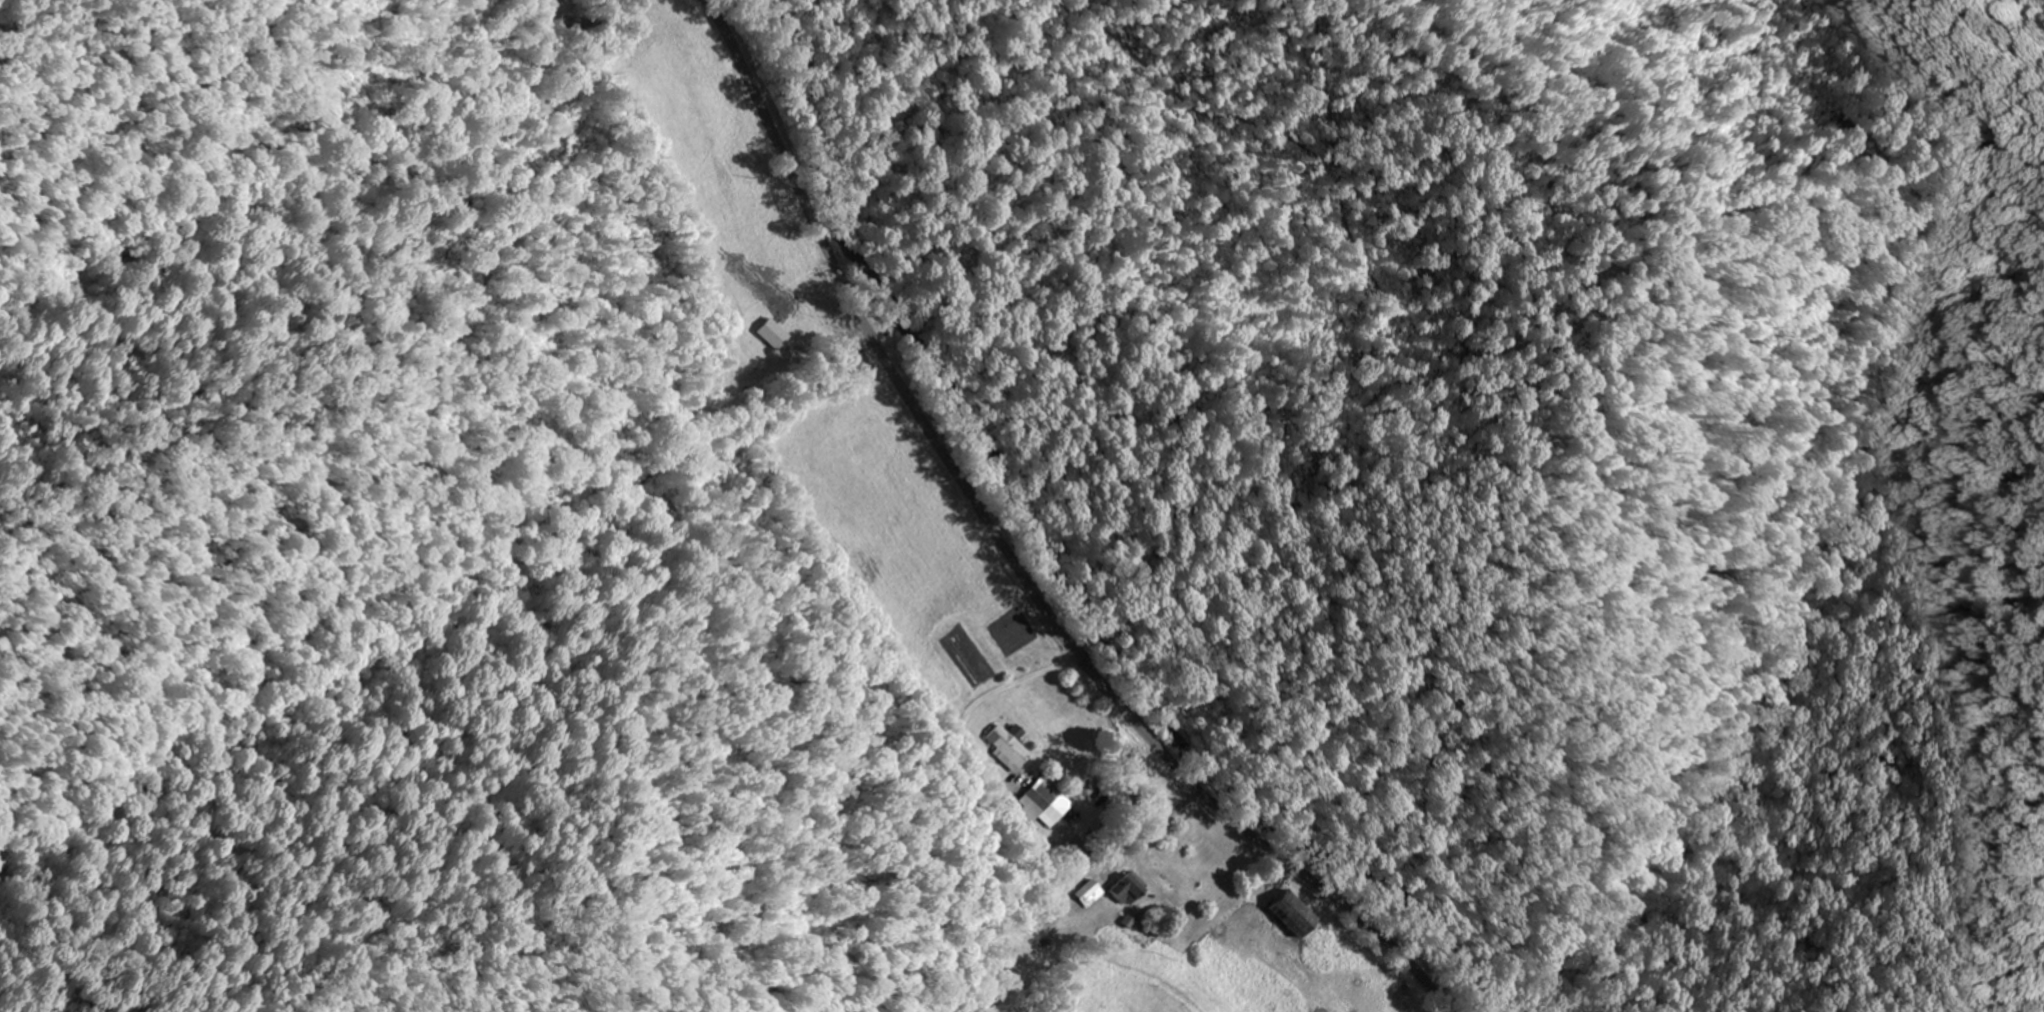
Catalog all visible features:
road: (1009, 557)
building: (1006, 746)
building: (1035, 799)
building: (1124, 889)
building: (1086, 894)
building: (1288, 914)

